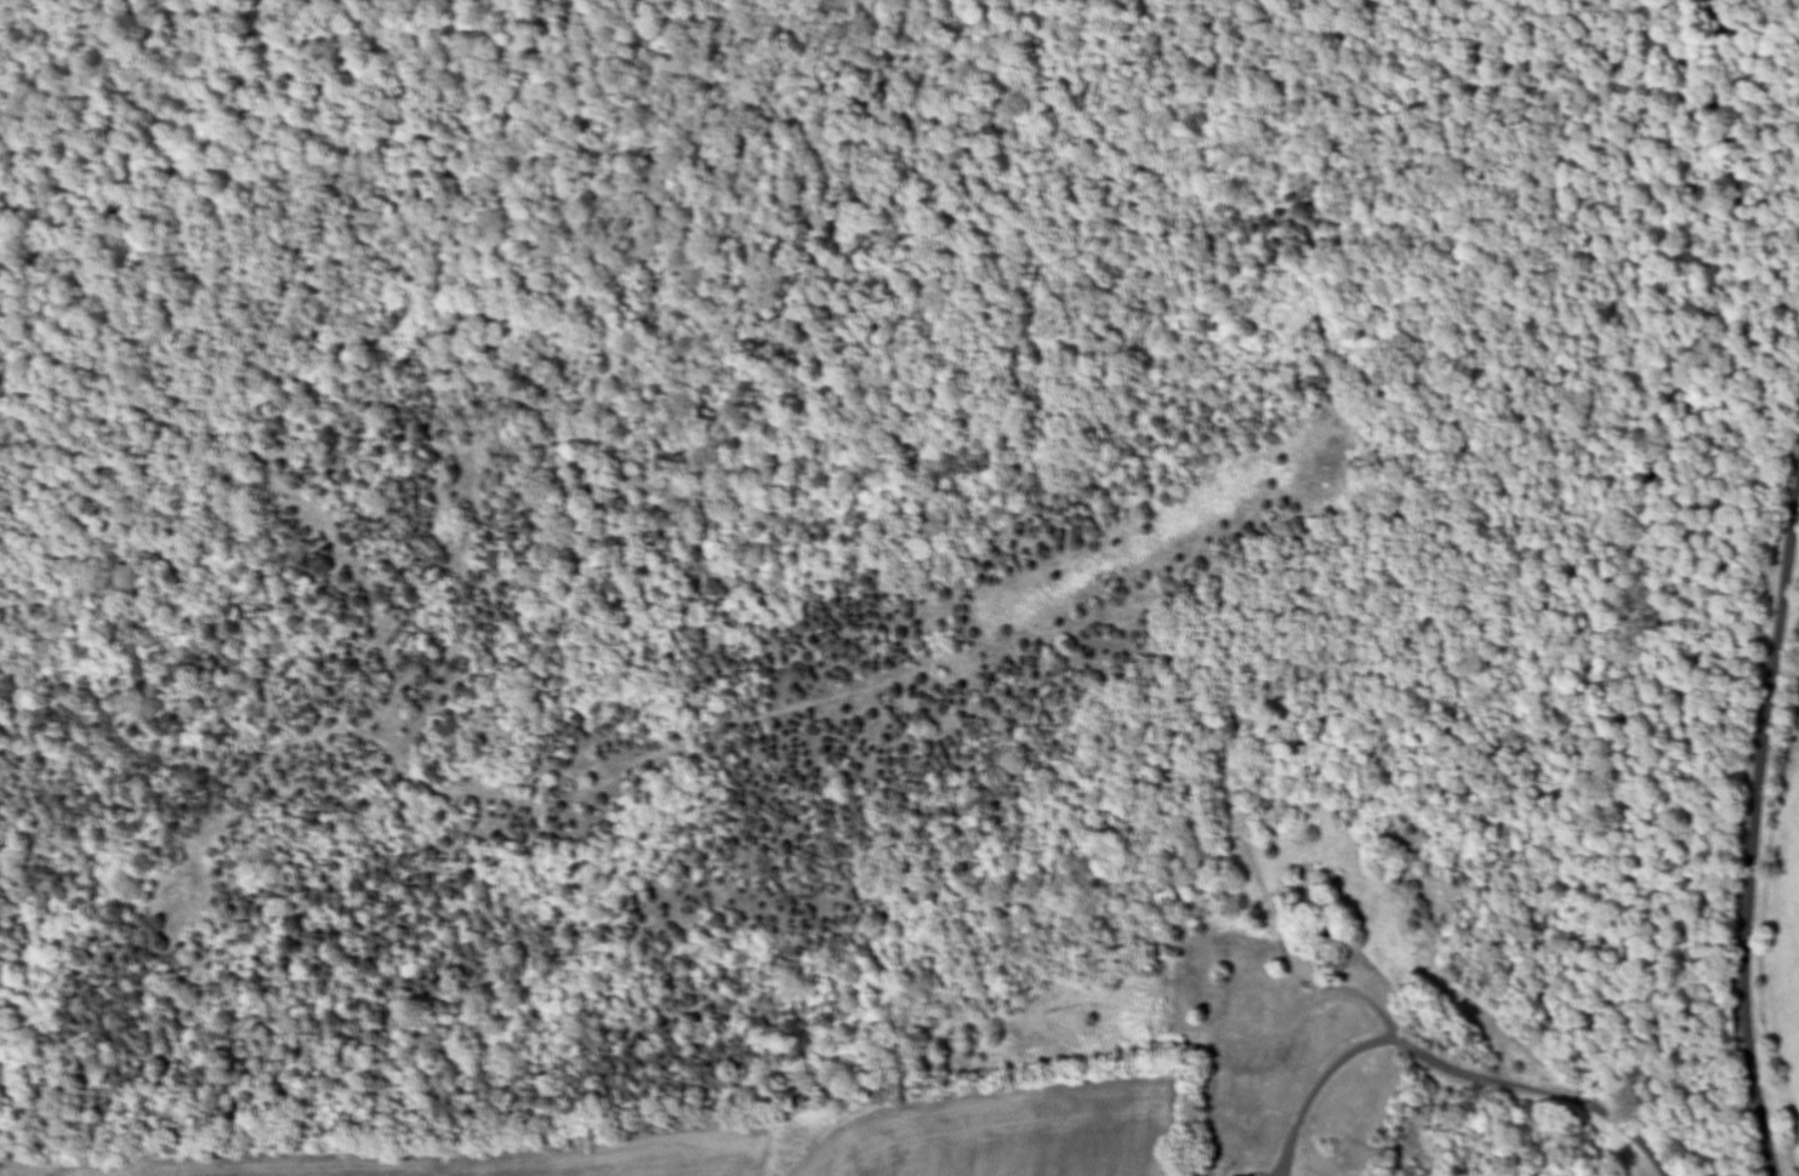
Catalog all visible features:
road: (1755, 832)
building: (1256, 1009)
road: (1532, 1091)

